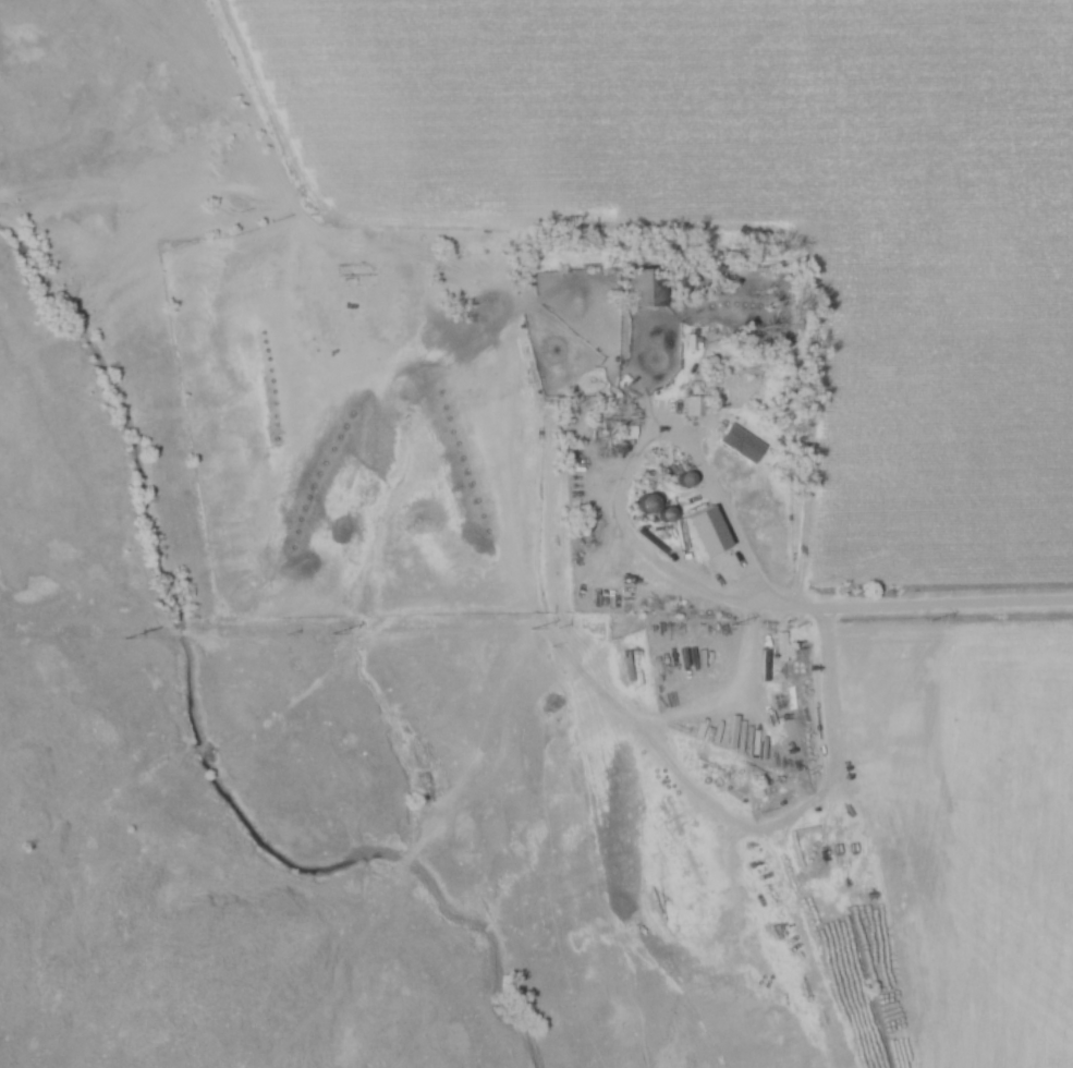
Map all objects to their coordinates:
building: (646, 288)
building: (742, 444)
road: (630, 470)
building: (707, 533)
road: (925, 605)
building: (733, 738)

